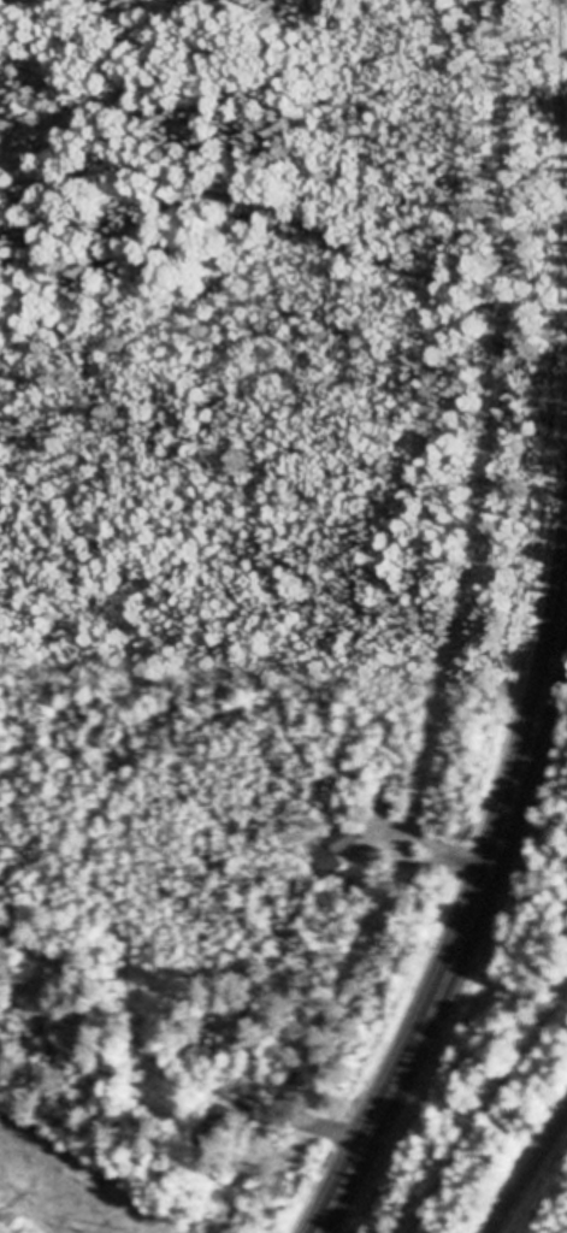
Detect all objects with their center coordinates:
building: (336, 851)
road: (471, 931)
building: (259, 1089)
road: (530, 1174)
power tower: (122, 1232)

